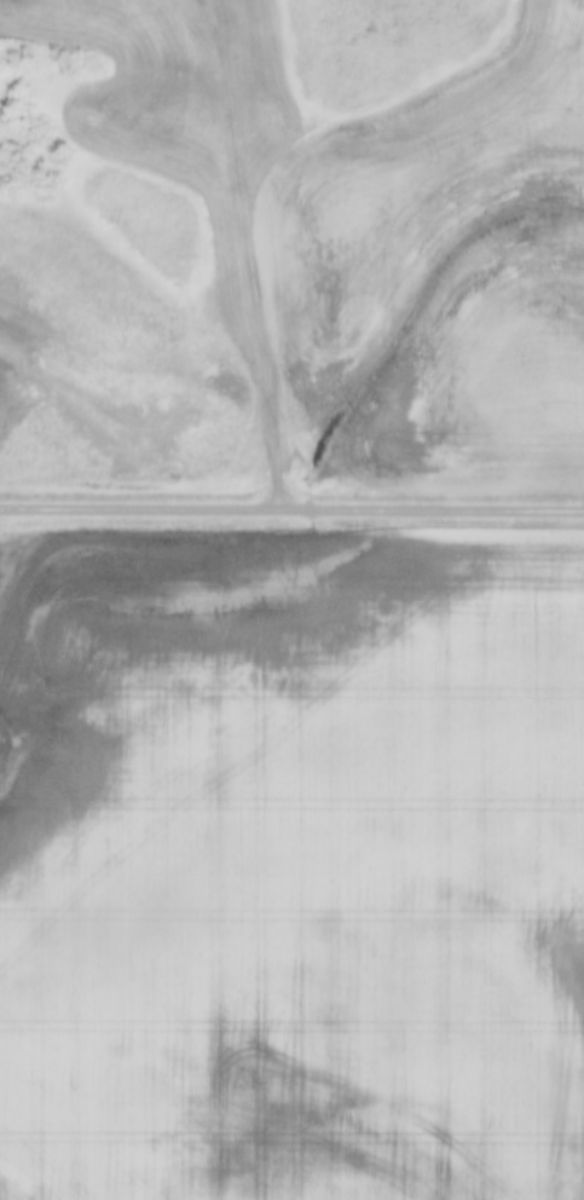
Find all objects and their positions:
road: (249, 253)
road: (291, 512)

